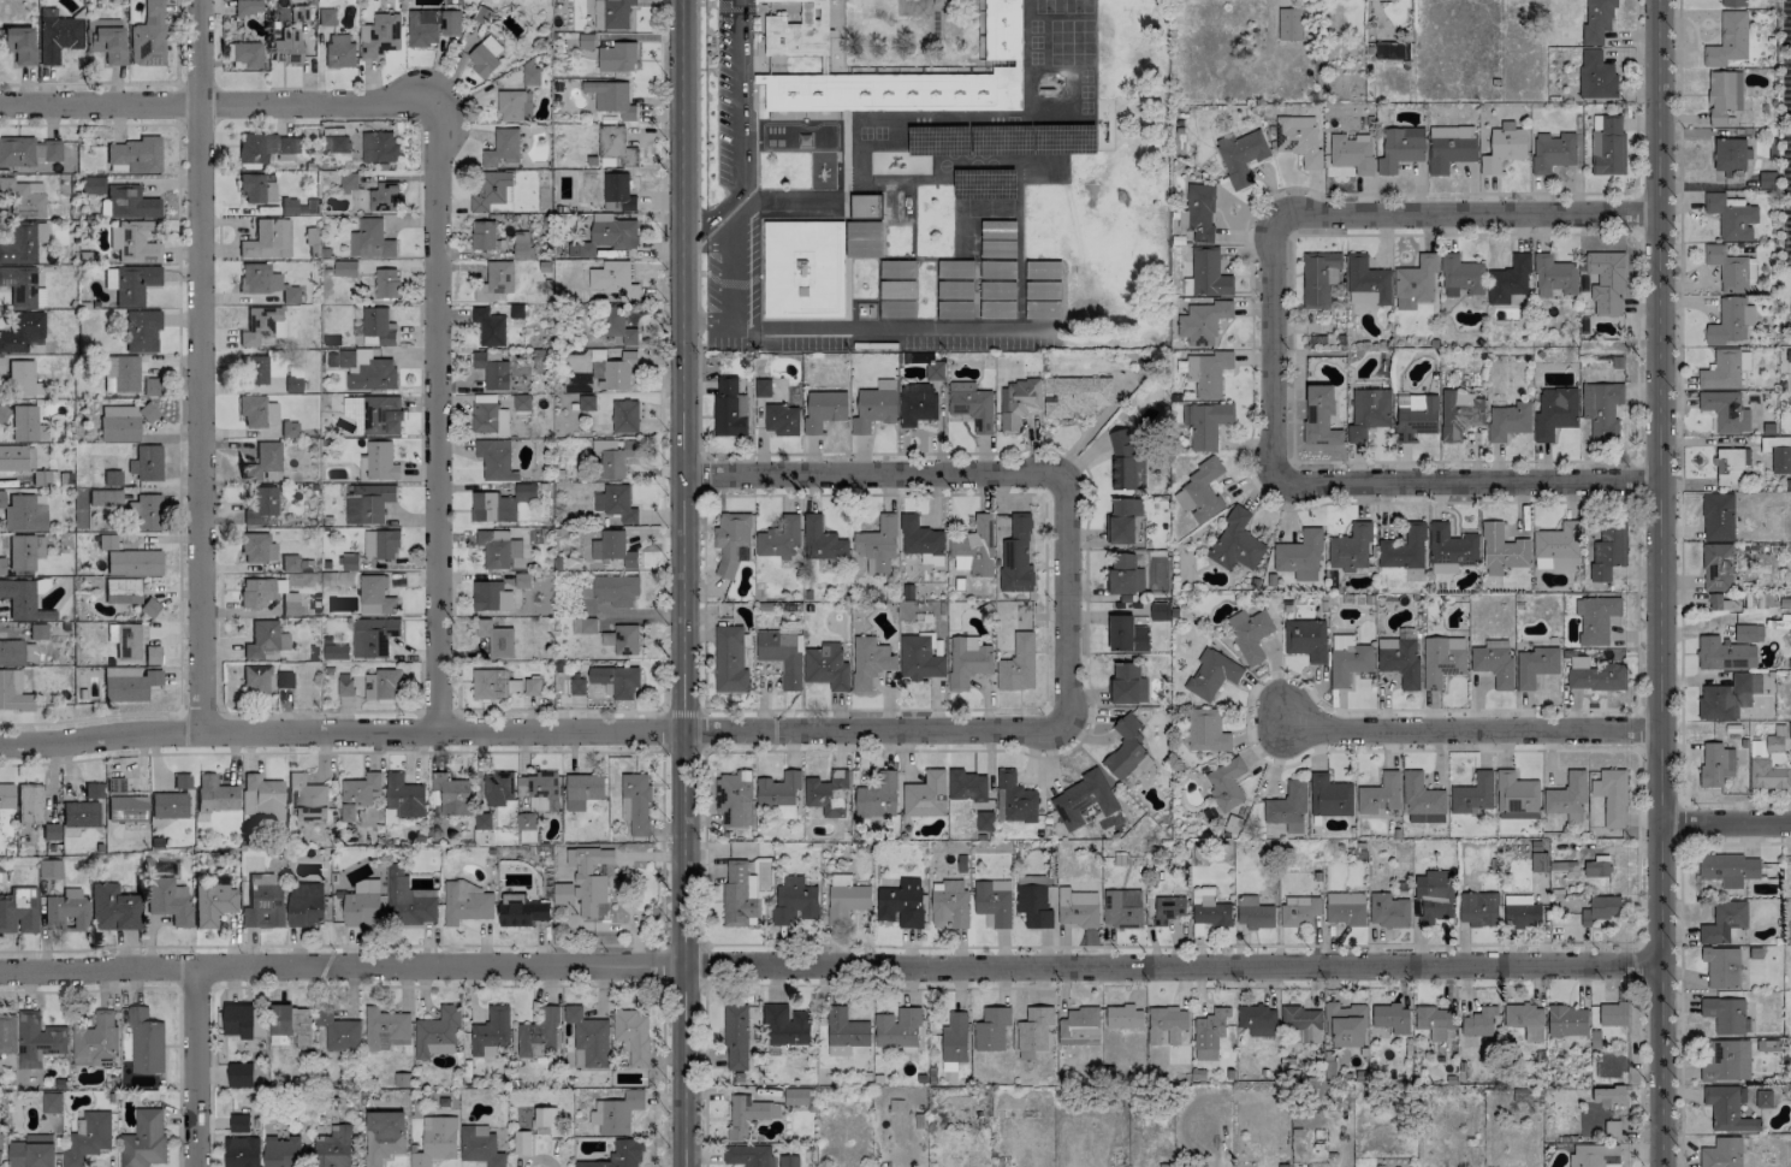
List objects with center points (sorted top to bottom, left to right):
building: (779, 0)
building: (1732, 2)
building: (247, 6)
road: (728, 7)
building: (450, 10)
building: (611, 13)
building: (325, 17)
building: (1597, 19)
building: (1289, 24)
building: (451, 25)
building: (422, 26)
building: (57, 35)
building: (148, 35)
building: (379, 35)
building: (1728, 40)
building: (107, 41)
building: (586, 41)
road: (695, 42)
building: (18, 43)
building: (286, 46)
building: (339, 51)
building: (1392, 51)
building: (247, 53)
building: (484, 55)
building: (617, 57)
building: (530, 73)
building: (1595, 75)
building: (917, 77)
road: (127, 82)
road: (1635, 94)
building: (1722, 95)
building: (611, 97)
road: (217, 105)
building: (514, 105)
road: (737, 129)
building: (1298, 138)
building: (611, 141)
building: (336, 143)
building: (1607, 144)
building: (267, 147)
building: (378, 147)
building: (502, 147)
building: (1449, 147)
building: (1502, 147)
building: (1400, 148)
building: (28, 150)
building: (1552, 150)
building: (1352, 153)
building: (136, 154)
building: (1240, 155)
building: (1730, 155)
road: (696, 156)
building: (348, 180)
building: (91, 185)
building: (257, 186)
building: (491, 191)
building: (617, 192)
road: (1328, 194)
building: (23, 197)
building: (384, 197)
building: (130, 202)
building: (287, 206)
building: (864, 212)
building: (1198, 212)
road: (1461, 213)
road: (1637, 213)
building: (1731, 217)
road: (714, 226)
building: (482, 235)
building: (605, 235)
building: (862, 238)
building: (267, 239)
building: (369, 239)
building: (312, 241)
building: (134, 242)
building: (23, 243)
building: (521, 244)
building: (345, 268)
building: (802, 268)
building: (896, 268)
building: (954, 268)
building: (997, 268)
building: (1043, 269)
building: (1730, 269)
building: (1208, 273)
building: (1460, 276)
building: (1554, 276)
building: (1318, 278)
building: (613, 279)
building: (494, 280)
building: (1508, 280)
building: (265, 282)
building: (1366, 282)
building: (1415, 282)
building: (1606, 282)
building: (130, 283)
building: (386, 283)
road: (730, 285)
building: (22, 286)
building: (892, 290)
building: (954, 290)
building: (991, 290)
building: (896, 309)
building: (954, 309)
building: (997, 309)
building: (1043, 309)
building: (1203, 321)
building: (1730, 321)
building: (616, 325)
building: (261, 326)
building: (488, 326)
building: (376, 327)
building: (141, 330)
building: (22, 331)
road: (872, 334)
road: (1636, 346)
road: (1292, 348)
road: (1270, 350)
road: (658, 355)
building: (1, 365)
road: (201, 367)
building: (254, 369)
building: (366, 369)
building: (611, 369)
building: (933, 369)
building: (491, 371)
building: (1721, 371)
building: (120, 373)
building: (1205, 373)
building: (22, 379)
building: (292, 384)
building: (150, 386)
building: (761, 387)
building: (1074, 395)
road: (1679, 399)
building: (521, 402)
building: (586, 402)
building: (1018, 402)
building: (915, 403)
building: (971, 404)
building: (729, 407)
building: (873, 407)
building: (824, 409)
building: (1601, 409)
building: (251, 410)
building: (354, 410)
building: (1725, 410)
building: (2, 411)
building: (148, 411)
building: (271, 411)
building: (1369, 413)
building: (1554, 413)
road: (433, 414)
building: (1459, 414)
building: (381, 415)
building: (1319, 415)
building: (1415, 415)
building: (624, 416)
road: (178, 419)
building: (488, 419)
building: (781, 419)
building: (1508, 421)
building: (1205, 422)
building: (25, 423)
building: (119, 428)
building: (289, 428)
building: (13, 455)
building: (613, 456)
building: (1779, 457)
building: (494, 460)
building: (263, 461)
building: (380, 461)
building: (146, 462)
building: (1125, 462)
building: (1730, 466)
road: (870, 472)
road: (704, 474)
building: (113, 478)
road: (1637, 479)
road: (1466, 484)
building: (1200, 491)
building: (113, 497)
road: (1409, 502)
building: (367, 503)
building: (615, 503)
building: (260, 504)
building: (498, 504)
building: (23, 511)
building: (144, 511)
building: (1718, 517)
building: (1122, 519)
building: (779, 539)
building: (820, 539)
building: (730, 540)
building: (920, 540)
building: (107, 541)
building: (1235, 541)
building: (380, 544)
building: (877, 545)
building: (973, 546)
building: (612, 547)
building: (1350, 547)
building: (1558, 547)
building: (256, 549)
building: (1404, 549)
building: (1449, 549)
building: (1502, 550)
building: (1608, 550)
building: (24, 551)
building: (1015, 556)
building: (1299, 556)
building: (134, 562)
building: (349, 562)
building: (290, 563)
building: (1, 565)
building: (1716, 567)
building: (1125, 574)
building: (522, 580)
road: (1659, 582)
road: (682, 583)
building: (123, 590)
building: (615, 590)
building: (255, 592)
building: (374, 596)
building: (490, 596)
building: (20, 599)
road: (1062, 602)
building: (1718, 602)
road: (1637, 603)
building: (290, 604)
building: (149, 606)
building: (1158, 610)
building: (1595, 618)
building: (583, 626)
building: (788, 627)
building: (37, 630)
building: (1249, 633)
building: (1748, 633)
building: (1126, 634)
building: (372, 636)
building: (261, 638)
building: (496, 639)
building: (622, 639)
building: (1305, 639)
building: (127, 641)
building: (334, 651)
building: (11, 652)
building: (1720, 653)
building: (152, 654)
building: (781, 656)
building: (919, 658)
building: (729, 659)
building: (1399, 659)
building: (1442, 659)
building: (967, 660)
building: (868, 662)
building: (1494, 662)
building: (1350, 663)
building: (1016, 664)
building: (1535, 665)
building: (825, 667)
building: (1211, 674)
building: (1595, 675)
building: (255, 679)
building: (284, 679)
building: (615, 680)
building: (129, 683)
building: (492, 683)
building: (1127, 683)
building: (344, 685)
building: (381, 685)
building: (532, 686)
building: (576, 686)
building: (13, 691)
building: (1727, 695)
road: (1042, 707)
road: (535, 710)
road: (681, 711)
road: (1246, 711)
road: (198, 715)
road: (318, 715)
road: (435, 715)
road: (1638, 727)
building: (1205, 730)
road: (1473, 730)
road: (533, 733)
building: (1125, 747)
road: (425, 751)
building: (1768, 764)
building: (1715, 765)
building: (182, 781)
building: (1226, 783)
building: (966, 786)
building: (497, 788)
building: (536, 788)
building: (93, 789)
building: (582, 789)
road: (702, 789)
building: (828, 792)
building: (357, 793)
building: (778, 793)
building: (451, 794)
building: (1380, 794)
building: (1472, 794)
building: (1566, 794)
building: (6, 795)
building: (403, 795)
building: (925, 795)
building: (261, 796)
building: (877, 796)
building: (1329, 796)
building: (1516, 796)
building: (1611, 796)
building: (307, 798)
building: (734, 798)
building: (1015, 798)
building: (1083, 799)
building: (1422, 800)
building: (29, 802)
road: (1734, 802)
building: (168, 804)
building: (635, 805)
building: (126, 807)
building: (1288, 807)
building: (79, 813)
building: (482, 821)
building: (984, 821)
road: (1680, 822)
road: (1725, 827)
building: (51, 831)
road: (1638, 846)
building: (1538, 861)
building: (48, 866)
building: (1595, 869)
building: (1727, 869)
building: (840, 879)
building: (588, 883)
building: (737, 894)
building: (1433, 896)
building: (166, 899)
building: (408, 899)
building: (794, 901)
building: (213, 902)
building: (263, 902)
building: (465, 902)
building: (846, 902)
building: (901, 902)
building: (992, 902)
building: (304, 904)
building: (948, 904)
building: (362, 905)
building: (1033, 905)
building: (111, 907)
building: (1077, 907)
building: (1344, 907)
building: (17, 908)
building: (1121, 908)
building: (1168, 908)
building: (1209, 908)
building: (1388, 908)
building: (1478, 908)
building: (1600, 908)
building: (65, 910)
building: (521, 910)
building: (1520, 911)
building: (1253, 912)
building: (1299, 912)
building: (1724, 922)
road: (330, 944)
road: (829, 965)
road: (1639, 965)
building: (1721, 966)
road: (437, 987)
road: (176, 989)
road: (1680, 1006)
building: (1613, 1014)
building: (1725, 1014)
building: (1122, 1017)
building: (1392, 1018)
building: (1167, 1019)
building: (238, 1020)
building: (289, 1020)
building: (1257, 1020)
building: (1434, 1020)
building: (1525, 1020)
building: (1567, 1020)
building: (1479, 1021)
building: (1301, 1023)
building: (784, 1024)
building: (1345, 1024)
building: (384, 1026)
building: (1079, 1026)
building: (897, 1027)
building: (991, 1029)
building: (1033, 1030)
building: (339, 1031)
building: (844, 1031)
building: (437, 1032)
building: (491, 1032)
building: (1209, 1032)
building: (6, 1033)
building: (538, 1033)
building: (631, 1035)
building: (735, 1037)
building: (954, 1037)
building: (36, 1038)
building: (95, 1038)
building: (588, 1038)
building: (146, 1042)
building: (2, 1059)
building: (1725, 1060)
road: (191, 1066)
building: (239, 1074)
road: (1639, 1078)
building: (1608, 1095)
building: (795, 1096)
building: (1763, 1098)
building: (51, 1102)
building: (1727, 1109)
building: (616, 1113)
building: (747, 1114)
building: (545, 1120)
building: (238, 1122)
building: (1611, 1129)
building: (382, 1136)
building: (88, 1137)
building: (143, 1139)
building: (435, 1141)
building: (521, 1142)
building: (479, 1145)
building: (333, 1148)
building: (0, 1150)
building: (31, 1151)
building: (241, 1151)
building: (281, 1151)
building: (1721, 1153)
building: (618, 1155)
building: (747, 1155)
building: (1593, 1155)
building: (788, 1160)

